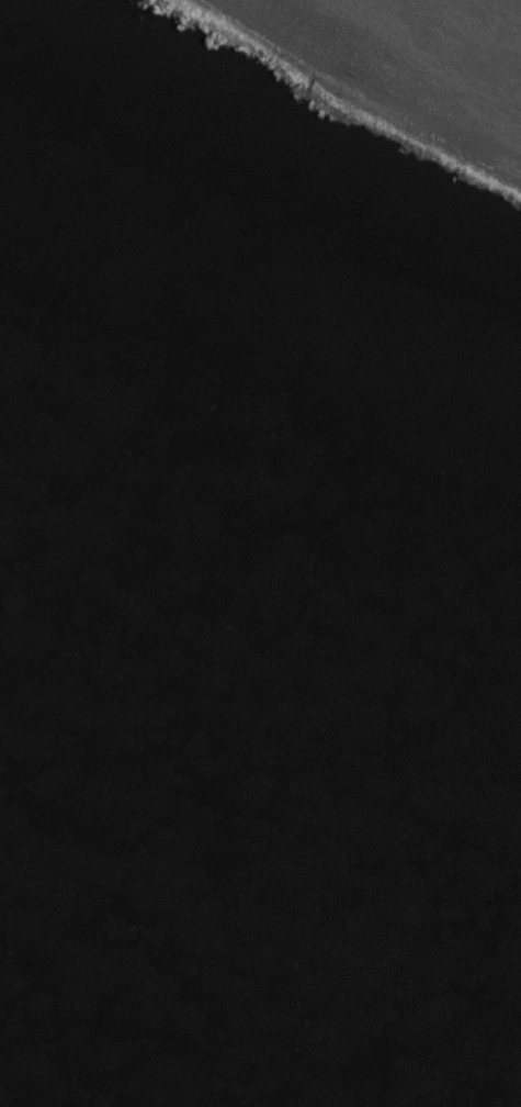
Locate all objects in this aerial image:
river: (260, 908)

